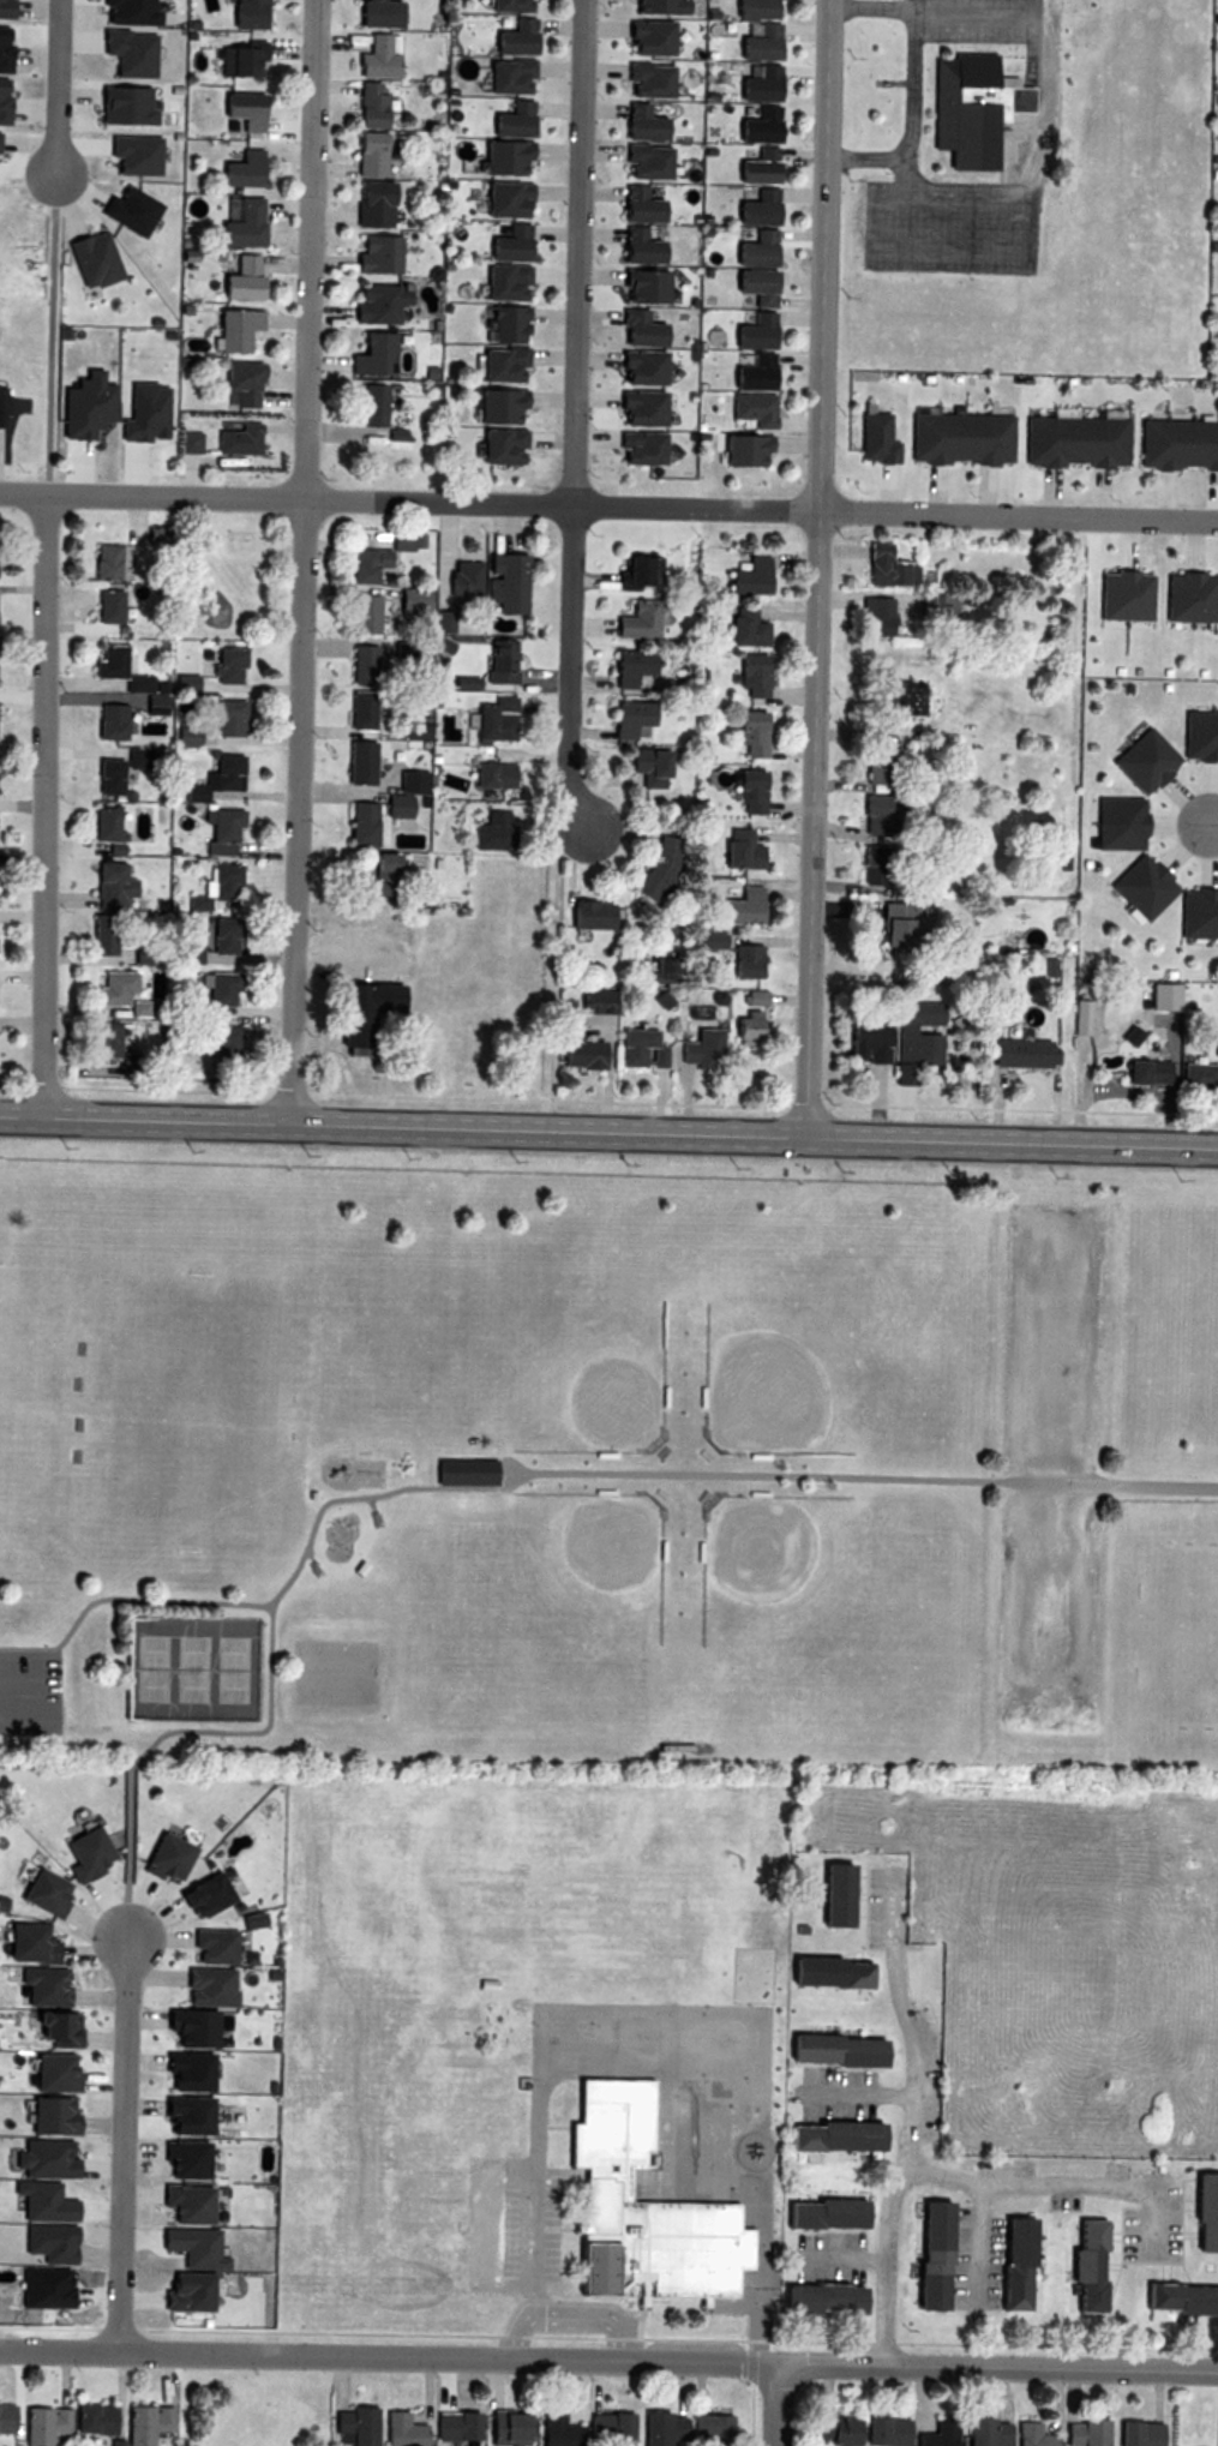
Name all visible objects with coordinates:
building: (505, 5)
building: (650, 5)
building: (752, 7)
building: (242, 12)
building: (373, 12)
building: (510, 37)
building: (643, 37)
building: (756, 41)
building: (368, 56)
building: (235, 58)
building: (502, 76)
building: (642, 79)
building: (755, 83)
building: (362, 103)
building: (238, 108)
building: (964, 109)
building: (506, 118)
building: (636, 121)
building: (752, 124)
building: (362, 152)
building: (499, 155)
building: (640, 161)
building: (750, 166)
building: (236, 167)
building: (499, 198)
building: (366, 203)
building: (631, 204)
building: (750, 206)
building: (235, 220)
building: (504, 242)
building: (631, 246)
building: (749, 248)
building: (370, 252)
building: (94, 259)
building: (234, 277)
building: (498, 281)
building: (637, 284)
building: (748, 284)
building: (370, 302)
building: (500, 323)
building: (228, 326)
building: (632, 329)
building: (748, 331)
building: (366, 353)
building: (494, 364)
building: (636, 367)
building: (748, 372)
building: (235, 383)
building: (365, 403)
building: (493, 404)
building: (636, 408)
building: (745, 408)
building: (872, 436)
building: (974, 437)
building: (230, 439)
building: (1073, 440)
building: (1177, 444)
building: (493, 445)
building: (635, 448)
building: (737, 448)
building: (396, 539)
building: (98, 559)
building: (359, 562)
building: (881, 566)
building: (631, 570)
building: (742, 575)
building: (457, 576)
building: (502, 580)
building: (406, 599)
building: (101, 604)
building: (934, 605)
building: (356, 611)
building: (869, 615)
building: (631, 619)
building: (738, 625)
building: (102, 659)
building: (492, 660)
building: (355, 661)
building: (220, 663)
building: (623, 665)
building: (744, 675)
building: (130, 683)
building: (178, 683)
building: (900, 699)
building: (148, 702)
building: (354, 708)
building: (221, 715)
building: (623, 717)
building: (487, 718)
building: (103, 719)
building: (407, 729)
building: (744, 733)
building: (180, 735)
building: (128, 755)
building: (352, 760)
building: (869, 762)
building: (643, 766)
building: (485, 773)
building: (101, 774)
building: (211, 774)
building: (742, 790)
building: (397, 791)
building: (870, 813)
building: (354, 821)
building: (97, 822)
building: (1120, 823)
building: (214, 831)
building: (485, 831)
building: (733, 850)
building: (866, 862)
building: (378, 874)
building: (216, 881)
building: (101, 882)
building: (1141, 887)
building: (190, 901)
building: (734, 907)
building: (583, 915)
building: (1200, 915)
building: (889, 922)
building: (97, 931)
building: (217, 934)
building: (703, 941)
building: (139, 952)
building: (185, 953)
building: (739, 959)
building: (659, 970)
building: (107, 984)
building: (214, 988)
building: (1164, 997)
building: (748, 999)
building: (590, 1002)
building: (132, 1006)
building: (364, 1014)
building: (739, 1029)
building: (98, 1037)
building: (863, 1038)
building: (918, 1039)
building: (218, 1043)
building: (628, 1045)
building: (696, 1045)
building: (1216, 1047)
building: (576, 1053)
building: (1024, 1054)
building: (650, 1056)
building: (124, 1059)
building: (1141, 1072)
building: (1189, 1074)
park: (598, 1379)
park: (778, 1380)
park: (34, 1403)
park: (191, 1408)
park: (608, 1435)
parking lot: (1049, 1462)
building: (468, 1475)
park: (598, 1553)
park: (772, 1557)
park: (190, 1663)
parking lot: (29, 1692)
building: (82, 1854)
building: (164, 1856)
building: (43, 1894)
building: (832, 1894)
building: (199, 1896)
building: (244, 1922)
building: (26, 1943)
building: (208, 1947)
building: (829, 1973)
building: (202, 1985)
building: (46, 2006)
building: (185, 2025)
building: (838, 2051)
building: (181, 2072)
building: (48, 2073)
building: (48, 2111)
building: (834, 2138)
building: (172, 2154)
building: (638, 2208)
building: (1204, 2212)
building: (822, 2214)
building: (925, 2254)
building: (1007, 2264)
building: (1080, 2264)
building: (1178, 2297)
building: (815, 2298)
building: (85, 2417)
building: (140, 2423)
building: (37, 2424)
building: (449, 2426)
building: (348, 2427)
building: (602, 2427)
building: (703, 2427)
building: (500, 2428)
building: (654, 2428)
building: (827, 2429)
building: (395, 2430)
building: (551, 2430)
building: (881, 2430)
building: (979, 2433)
building: (1078, 2433)
building: (1130, 2433)
building: (932, 2435)
building: (1026, 2436)

